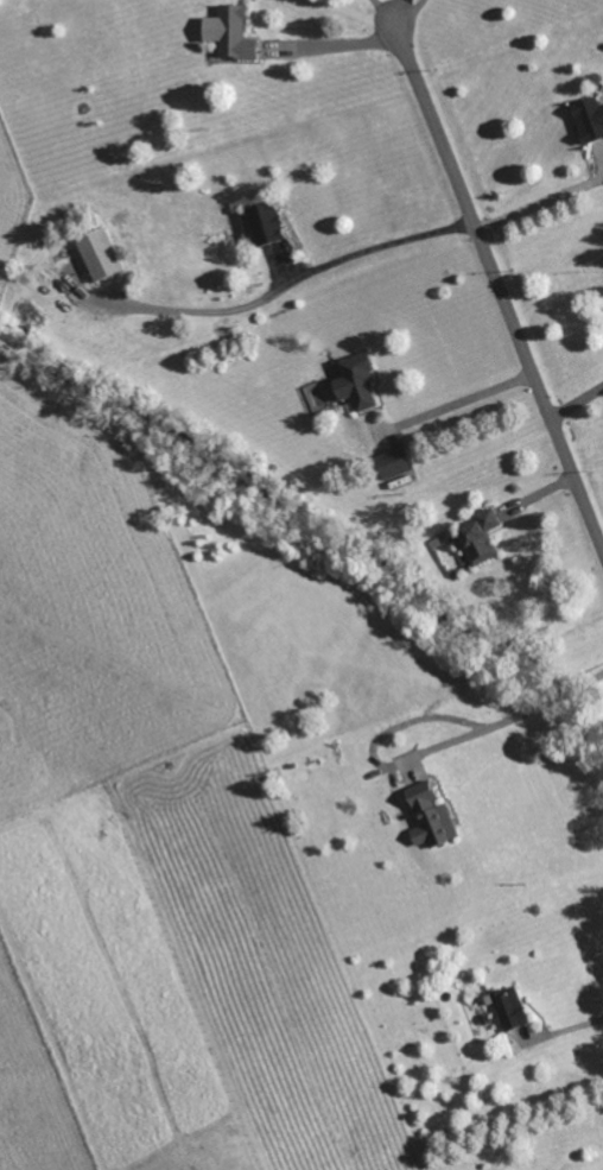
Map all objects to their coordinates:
road: (386, 14)
road: (413, 14)
building: (233, 31)
road: (335, 44)
building: (590, 118)
road: (542, 207)
building: (267, 221)
building: (101, 253)
road: (501, 284)
road: (272, 292)
building: (358, 381)
road: (466, 404)
road: (579, 406)
building: (395, 461)
building: (483, 536)
road: (544, 706)
road: (375, 754)
building: (431, 815)
building: (513, 1007)
road: (564, 1035)

